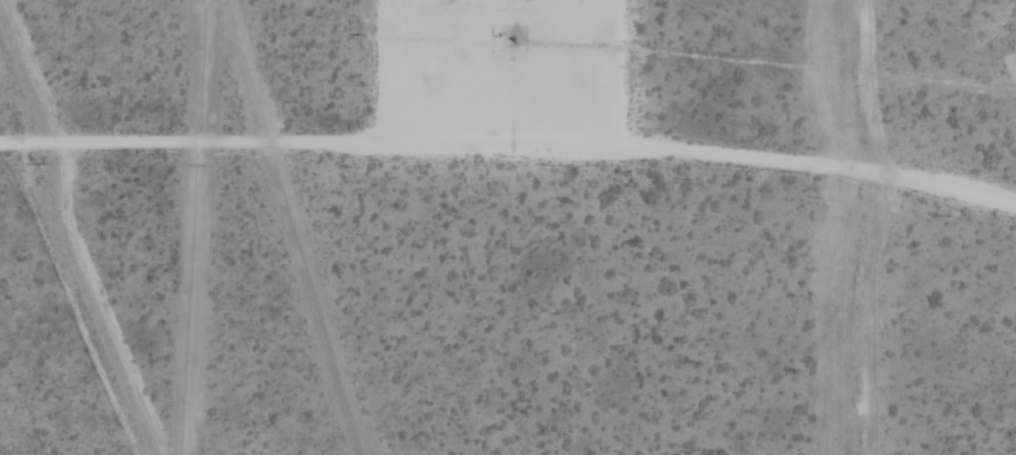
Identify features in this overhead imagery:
road: (470, 66)
road: (512, 131)

